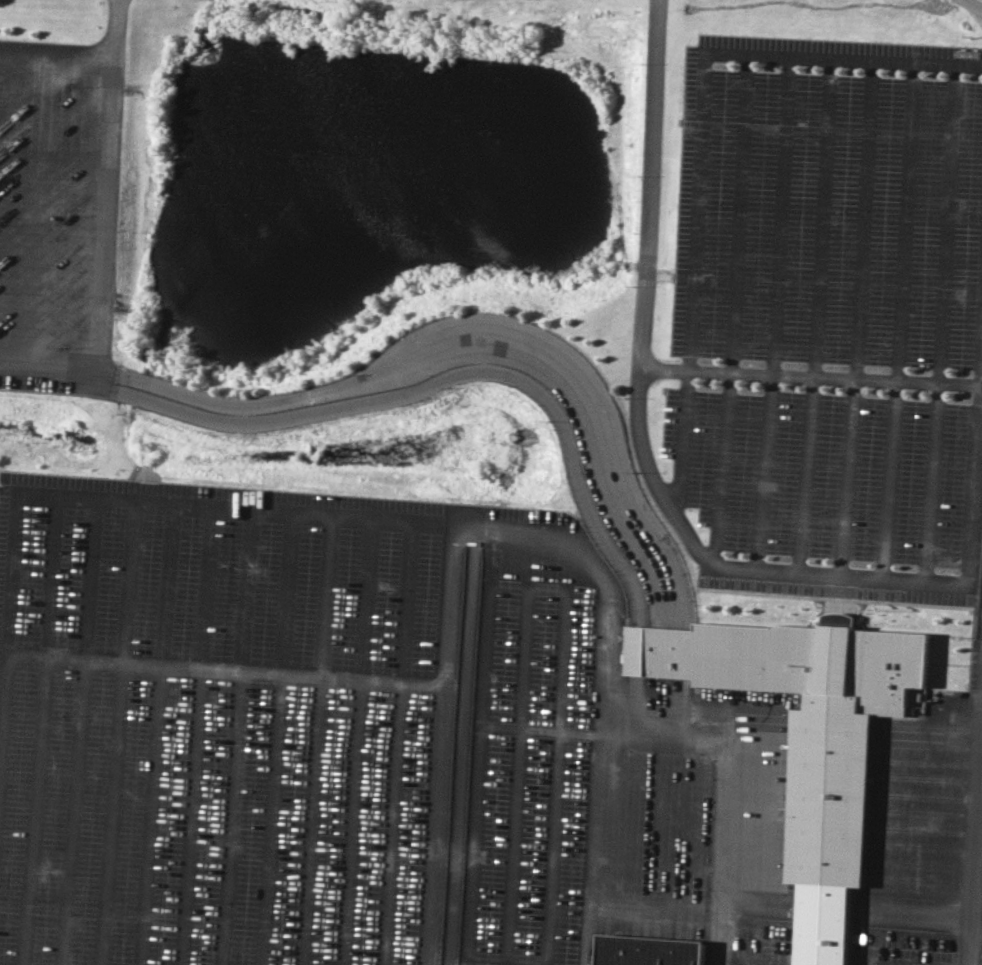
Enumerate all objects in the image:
road: (972, 6)
road: (700, 149)
road: (109, 206)
road: (648, 263)
road: (518, 356)
road: (810, 376)
road: (431, 528)
road: (941, 584)
parking lot: (529, 588)
road: (227, 670)
building: (810, 744)
road: (442, 747)
road: (975, 865)
building: (643, 947)

